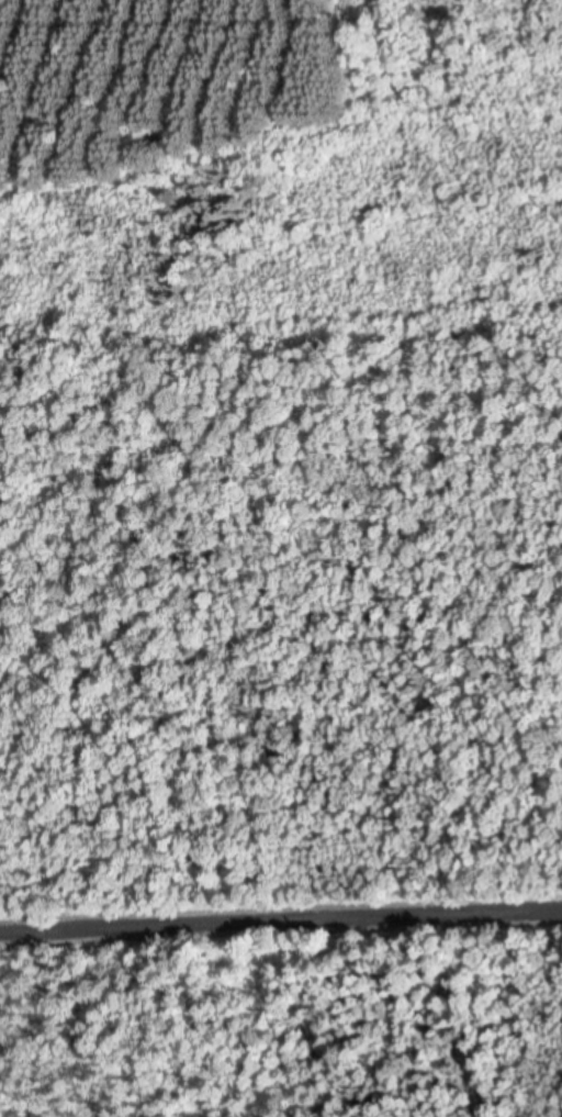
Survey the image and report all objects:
road: (281, 915)
park: (285, 1020)

